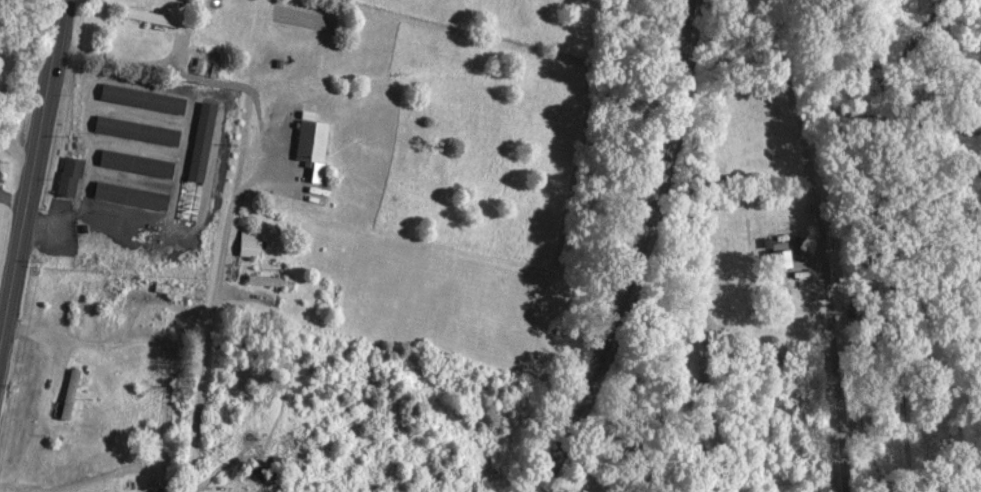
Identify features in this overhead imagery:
building: (156, 18)
road: (1, 58)
building: (205, 63)
building: (142, 98)
building: (205, 121)
building: (136, 130)
road: (14, 147)
building: (312, 147)
building: (135, 163)
road: (32, 175)
building: (69, 176)
building: (130, 195)
building: (250, 243)
railway: (640, 253)
building: (779, 256)
road: (825, 266)
building: (269, 280)
road: (211, 342)
building: (69, 393)
building: (582, 490)

